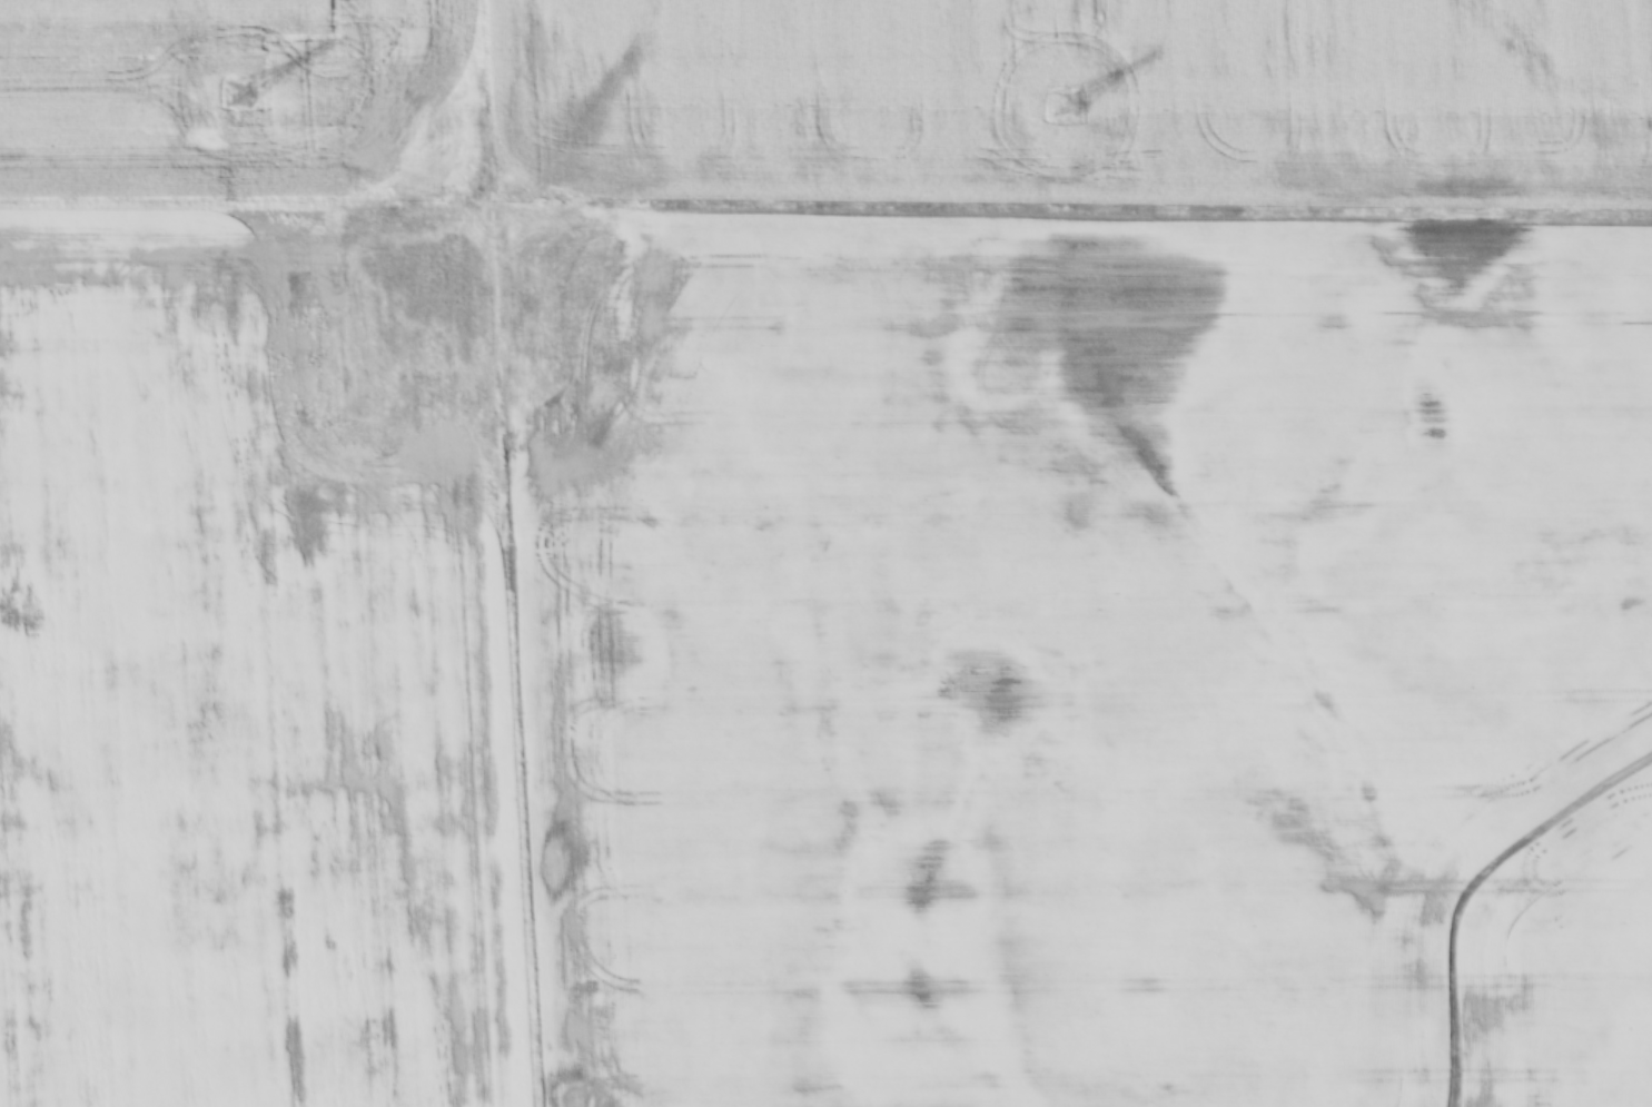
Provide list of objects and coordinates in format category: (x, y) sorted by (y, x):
power tower: (1058, 82)
power tower: (219, 83)

